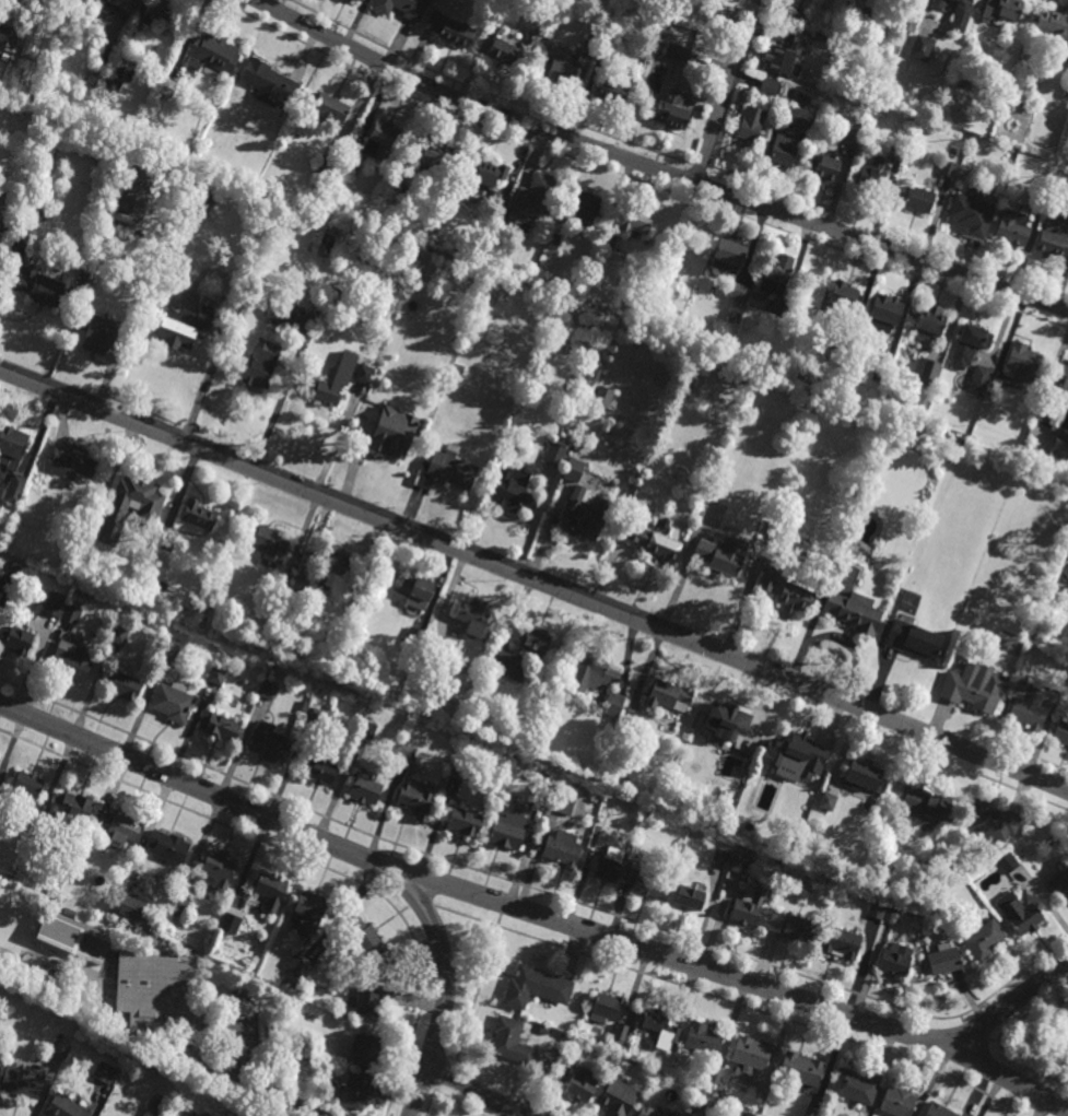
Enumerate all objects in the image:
building: (360, 0)
building: (120, 4)
building: (937, 4)
building: (401, 8)
building: (707, 9)
building: (2, 11)
building: (1001, 11)
building: (160, 14)
building: (962, 15)
building: (798, 16)
building: (871, 16)
building: (500, 17)
building: (908, 23)
building: (1053, 26)
building: (834, 27)
building: (450, 31)
building: (822, 36)
building: (3, 37)
building: (834, 37)
building: (30, 42)
building: (590, 46)
building: (922, 48)
building: (504, 52)
building: (677, 52)
building: (213, 54)
building: (607, 54)
building: (786, 56)
building: (104, 57)
building: (563, 74)
building: (269, 83)
building: (110, 86)
building: (770, 86)
building: (963, 86)
building: (169, 87)
building: (613, 90)
building: (1065, 91)
road: (726, 92)
building: (895, 99)
building: (875, 103)
building: (329, 109)
building: (672, 113)
building: (800, 118)
building: (751, 125)
building: (849, 136)
building: (380, 142)
building: (782, 150)
building: (897, 153)
building: (436, 156)
building: (350, 165)
building: (326, 167)
building: (173, 169)
road: (658, 169)
building: (947, 169)
building: (824, 171)
building: (483, 173)
building: (504, 174)
building: (870, 180)
building: (203, 190)
building: (1040, 198)
building: (918, 200)
building: (532, 202)
building: (501, 203)
building: (589, 207)
building: (121, 208)
park: (5, 209)
building: (970, 215)
building: (636, 225)
building: (1012, 227)
building: (20, 236)
building: (608, 240)
building: (1053, 240)
building: (552, 243)
building: (729, 257)
building: (777, 278)
building: (43, 291)
building: (738, 293)
building: (843, 302)
building: (758, 303)
building: (887, 310)
building: (279, 314)
building: (735, 319)
building: (930, 324)
building: (185, 330)
building: (103, 338)
building: (975, 338)
building: (842, 350)
building: (882, 360)
building: (1022, 365)
building: (260, 369)
building: (926, 372)
building: (457, 373)
building: (364, 374)
building: (735, 378)
building: (979, 379)
building: (606, 389)
building: (326, 391)
building: (1057, 395)
building: (817, 400)
building: (1060, 443)
building: (12, 444)
building: (578, 445)
building: (398, 446)
building: (556, 453)
building: (72, 462)
building: (451, 468)
building: (574, 468)
building: (14, 489)
building: (513, 490)
building: (150, 507)
building: (82, 512)
building: (199, 514)
building: (584, 514)
building: (654, 540)
building: (269, 542)
building: (723, 552)
building: (336, 563)
building: (0, 572)
building: (1066, 573)
road: (535, 578)
building: (9, 582)
building: (283, 582)
building: (298, 589)
building: (415, 590)
building: (787, 590)
building: (1061, 598)
building: (55, 604)
building: (854, 611)
building: (72, 613)
building: (473, 616)
building: (120, 635)
building: (413, 638)
building: (915, 639)
building: (17, 641)
building: (537, 641)
building: (172, 649)
building: (72, 660)
building: (509, 666)
building: (219, 676)
building: (598, 680)
building: (127, 688)
building: (978, 689)
building: (268, 690)
building: (668, 695)
building: (174, 701)
building: (304, 706)
building: (1026, 707)
building: (316, 717)
building: (728, 719)
building: (631, 720)
building: (221, 726)
building: (367, 730)
building: (1060, 732)
building: (270, 744)
building: (407, 753)
building: (795, 756)
building: (321, 772)
building: (457, 772)
building: (866, 776)
building: (28, 784)
road: (193, 786)
building: (364, 789)
building: (541, 796)
building: (418, 798)
building: (559, 801)
building: (828, 801)
building: (929, 804)
building: (75, 806)
building: (602, 820)
building: (725, 820)
building: (991, 821)
building: (465, 823)
building: (749, 826)
building: (120, 827)
building: (508, 830)
building: (37, 833)
building: (169, 848)
building: (563, 849)
building: (724, 860)
building: (1007, 862)
building: (739, 865)
building: (609, 866)
building: (954, 866)
building: (220, 869)
building: (645, 882)
building: (1059, 882)
building: (270, 892)
building: (690, 898)
building: (180, 905)
building: (130, 907)
building: (748, 907)
building: (308, 911)
building: (878, 912)
building: (69, 914)
building: (891, 915)
building: (1020, 915)
building: (232, 916)
building: (793, 928)
building: (74, 938)
building: (984, 939)
building: (366, 941)
building: (842, 944)
road: (444, 958)
building: (944, 960)
building: (896, 961)
building: (298, 968)
road: (732, 977)
building: (536, 988)
building: (155, 991)
building: (371, 1002)
road: (1009, 1005)
building: (607, 1009)
road: (211, 1025)
building: (658, 1025)
building: (621, 1033)
building: (703, 1039)
building: (67, 1042)
building: (512, 1042)
building: (561, 1043)
building: (61, 1052)
building: (365, 1053)
building: (573, 1057)
building: (749, 1059)
building: (802, 1070)
building: (106, 1073)
building: (716, 1076)
building: (23, 1084)
building: (583, 1085)
building: (855, 1088)
road: (420, 1091)
road: (476, 1091)
building: (354, 1093)
road: (274, 1096)
building: (618, 1100)
building: (899, 1102)
building: (64, 1107)
building: (700, 1111)
building: (939, 1111)
building: (153, 1112)
building: (645, 1112)
building: (811, 1113)
building: (674, 1114)
building: (750, 1115)

